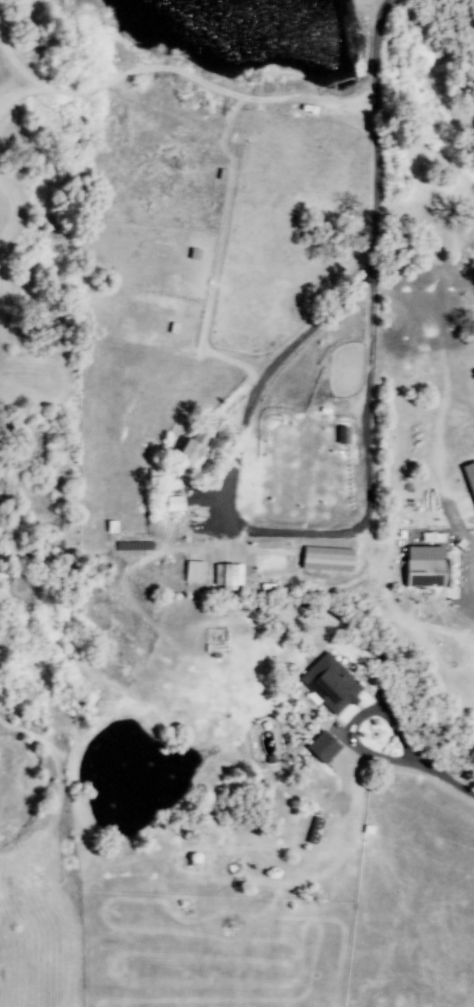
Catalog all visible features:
road: (313, 99)
road: (373, 133)
building: (193, 449)
building: (469, 477)
building: (173, 503)
road: (272, 533)
building: (326, 559)
building: (194, 572)
building: (423, 573)
building: (227, 576)
building: (330, 684)
building: (323, 747)
road: (439, 780)

